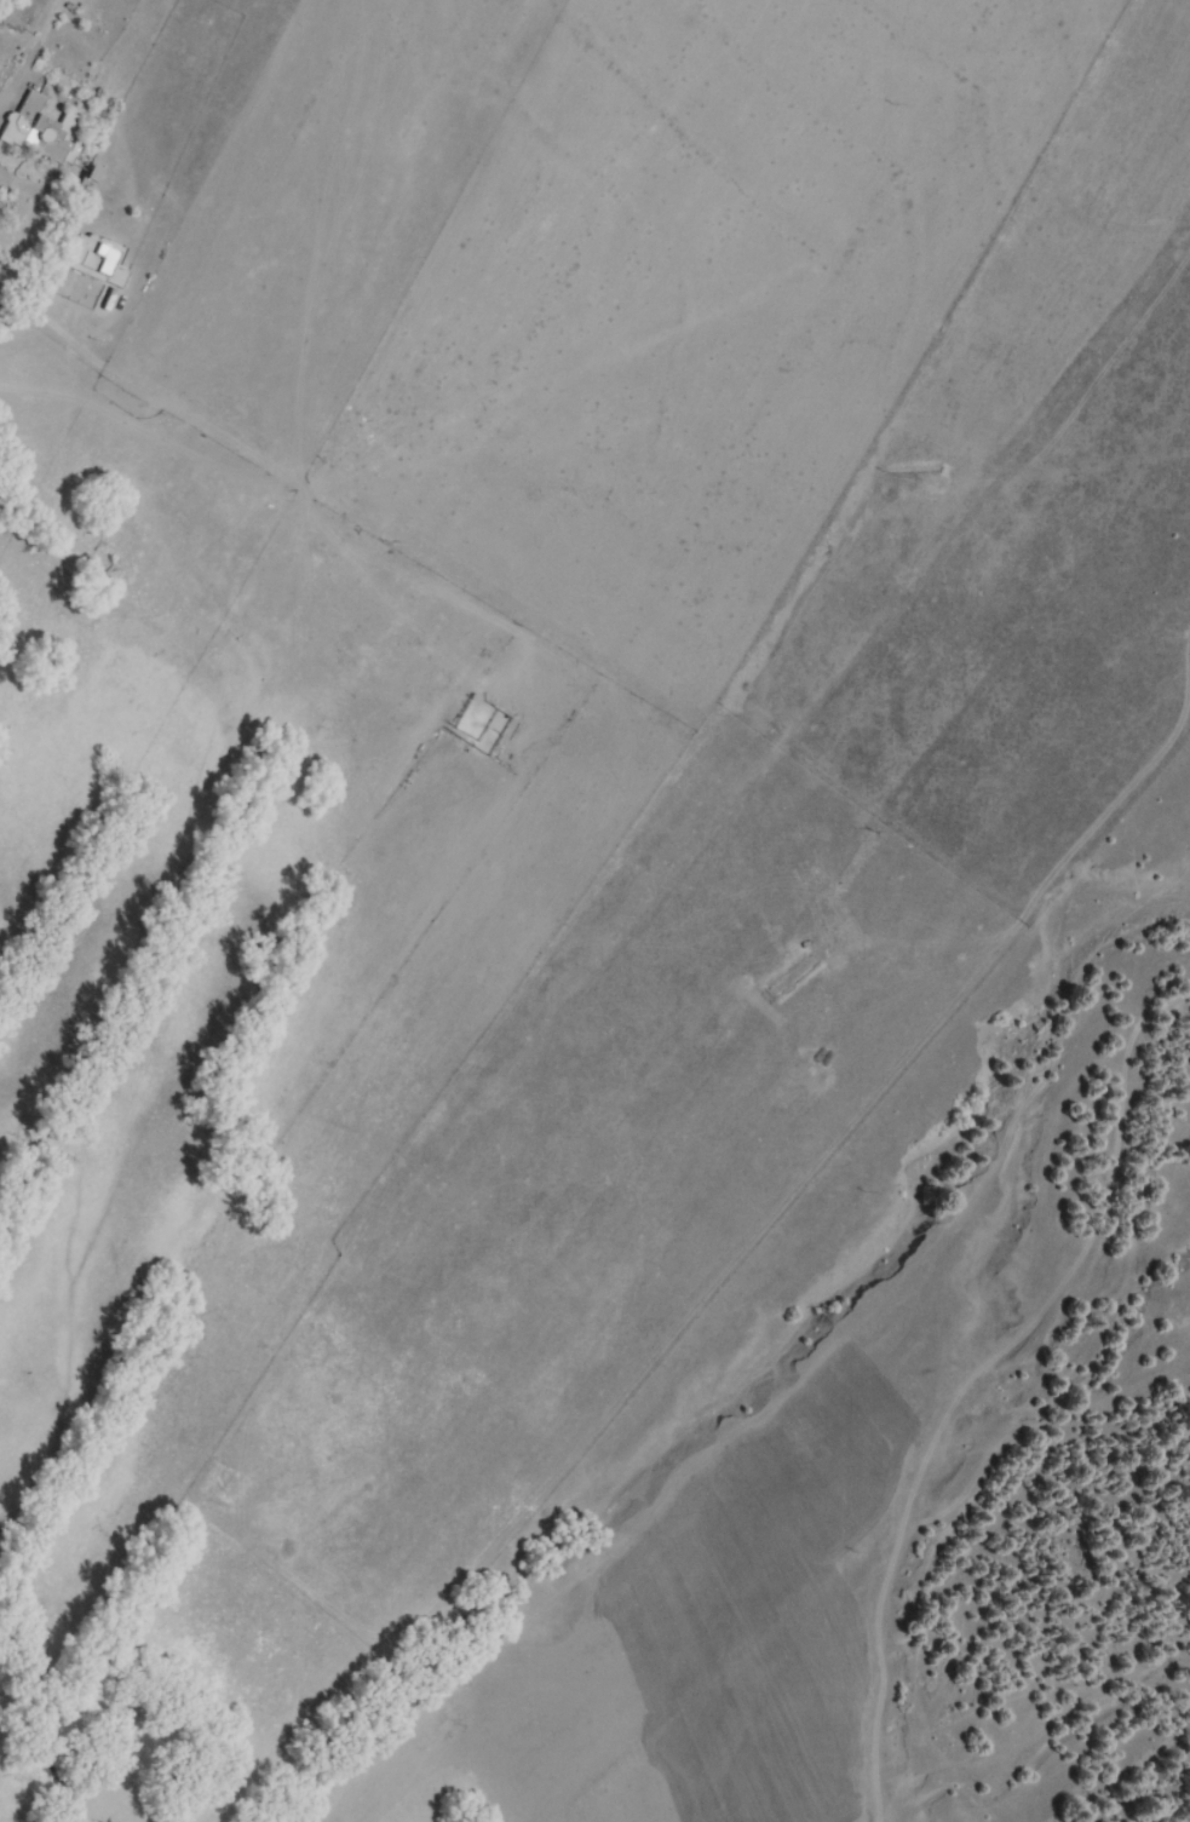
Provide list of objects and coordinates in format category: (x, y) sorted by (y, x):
building: (38, 131)
building: (91, 260)

